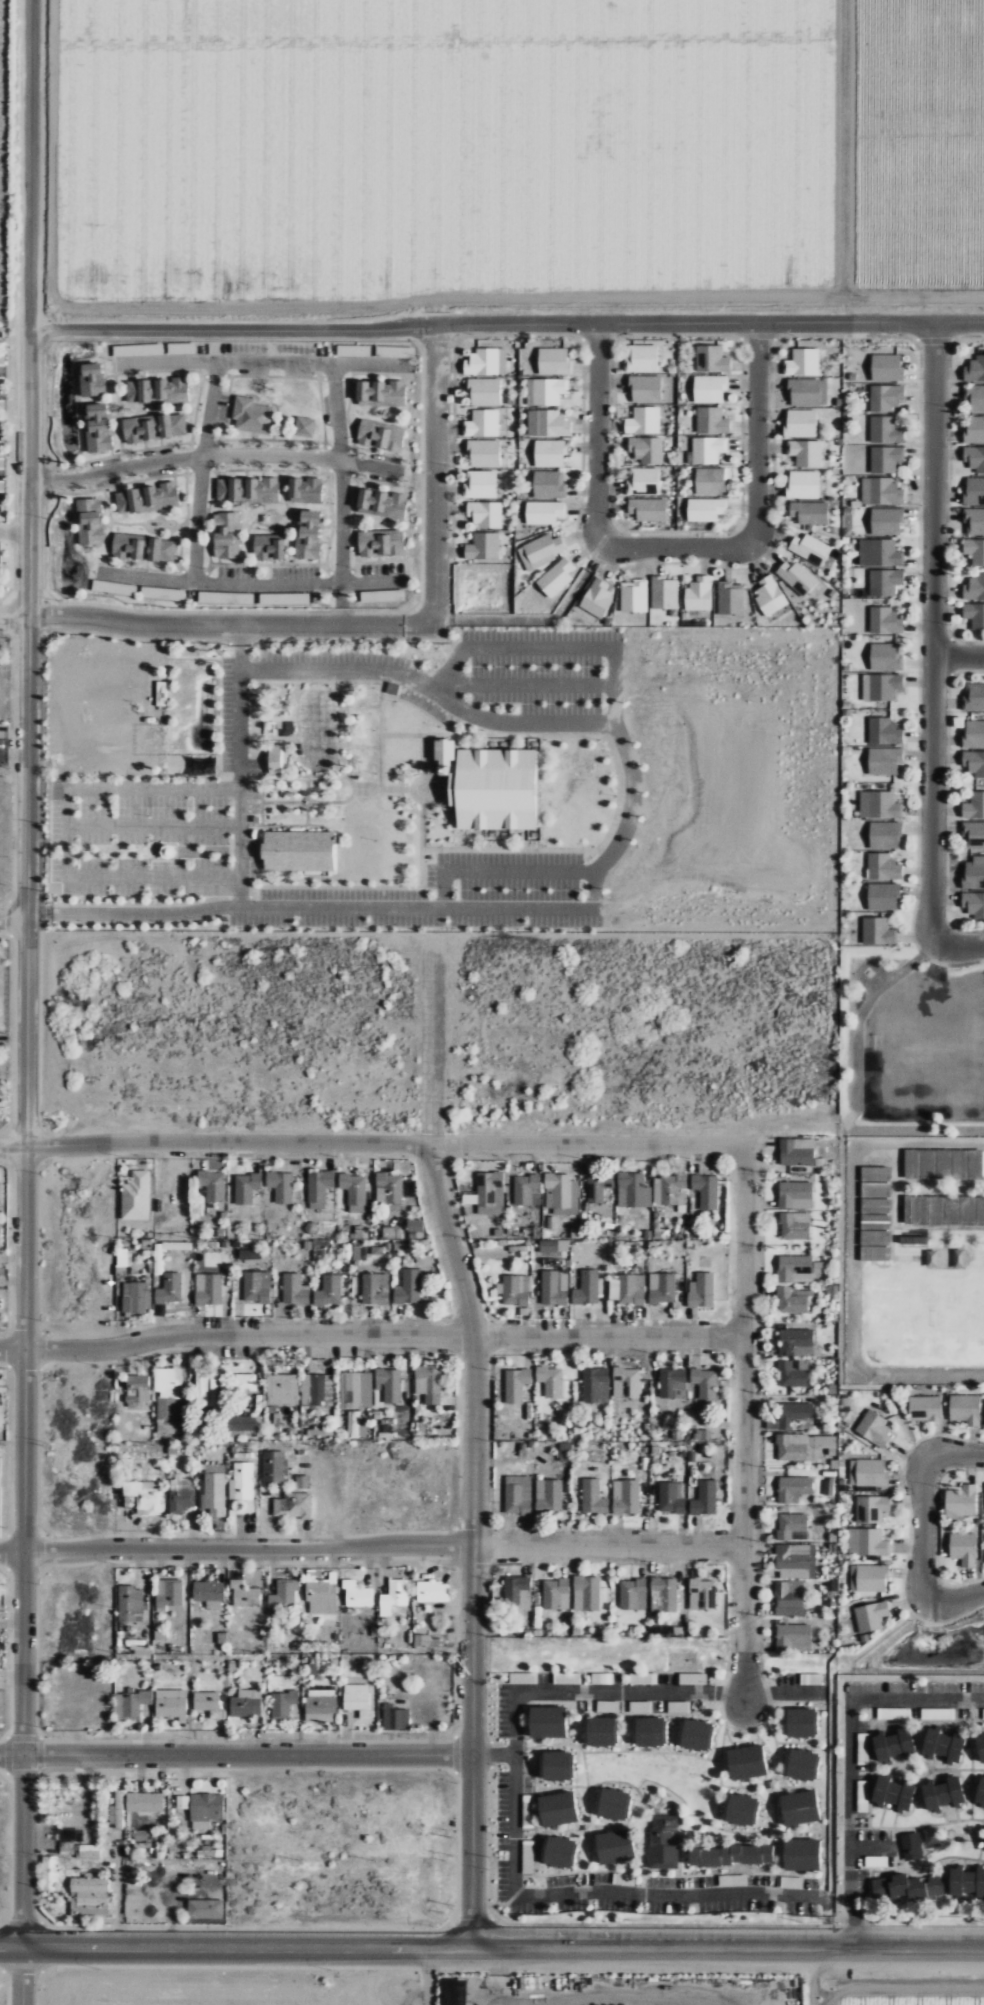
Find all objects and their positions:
road: (31, 158)
road: (506, 322)
building: (353, 350)
building: (396, 351)
building: (2, 359)
building: (640, 359)
building: (711, 359)
building: (553, 361)
building: (481, 362)
building: (802, 362)
road: (261, 363)
building: (887, 367)
building: (974, 369)
building: (91, 380)
building: (1, 383)
building: (157, 389)
building: (645, 389)
building: (709, 389)
building: (549, 390)
building: (381, 391)
building: (807, 391)
building: (484, 392)
building: (529, 392)
building: (886, 397)
building: (974, 398)
building: (251, 415)
building: (643, 420)
building: (711, 420)
building: (801, 422)
building: (482, 423)
building: (547, 423)
building: (304, 426)
building: (153, 427)
building: (97, 428)
building: (974, 428)
building: (885, 430)
road: (597, 432)
road: (755, 432)
building: (380, 435)
building: (646, 449)
building: (706, 449)
building: (805, 452)
building: (484, 453)
building: (550, 453)
road: (212, 455)
building: (974, 458)
building: (885, 459)
building: (1, 463)
road: (201, 471)
road: (435, 472)
road: (340, 474)
building: (643, 480)
building: (710, 481)
building: (480, 484)
building: (549, 484)
building: (803, 484)
building: (228, 489)
building: (305, 489)
building: (974, 490)
building: (881, 491)
building: (147, 497)
building: (382, 502)
building: (648, 509)
building: (705, 509)
building: (543, 512)
building: (809, 512)
building: (485, 513)
building: (89, 521)
building: (886, 521)
building: (974, 521)
building: (308, 534)
building: (227, 535)
building: (380, 542)
road: (676, 542)
building: (483, 546)
building: (143, 547)
building: (269, 547)
building: (810, 548)
building: (974, 550)
building: (540, 551)
building: (880, 552)
building: (555, 577)
building: (797, 577)
building: (884, 582)
road: (247, 584)
building: (108, 587)
building: (974, 587)
building: (664, 592)
building: (163, 593)
building: (698, 593)
building: (633, 595)
building: (769, 595)
building: (382, 596)
building: (219, 597)
building: (597, 597)
building: (291, 598)
building: (730, 598)
building: (974, 614)
road: (14, 615)
building: (885, 621)
road: (231, 624)
road: (240, 635)
road: (552, 648)
road: (957, 655)
building: (886, 657)
road: (930, 659)
road: (524, 685)
building: (881, 686)
building: (161, 693)
building: (973, 696)
building: (884, 731)
building: (973, 733)
building: (444, 751)
building: (884, 760)
building: (974, 763)
building: (204, 765)
building: (271, 766)
road: (239, 788)
building: (494, 789)
fountain: (306, 802)
building: (879, 804)
building: (974, 806)
building: (885, 834)
building: (973, 835)
building: (164, 849)
building: (298, 850)
building: (884, 867)
road: (500, 872)
building: (974, 873)
road: (594, 876)
building: (883, 896)
parking lot: (442, 897)
building: (974, 904)
road: (37, 913)
road: (13, 921)
building: (878, 931)
road: (432, 1038)
road: (28, 1132)
road: (589, 1146)
road: (215, 1147)
building: (797, 1152)
building: (911, 1164)
building: (928, 1164)
building: (959, 1164)
building: (875, 1174)
building: (213, 1185)
building: (280, 1186)
building: (246, 1188)
building: (318, 1188)
building: (389, 1188)
building: (527, 1190)
building: (633, 1190)
building: (875, 1190)
building: (1, 1191)
building: (354, 1191)
building: (706, 1191)
building: (490, 1193)
building: (560, 1194)
building: (796, 1195)
building: (136, 1196)
building: (875, 1206)
building: (908, 1209)
building: (952, 1210)
building: (972, 1210)
building: (920, 1211)
building: (936, 1211)
building: (875, 1222)
building: (795, 1225)
building: (414, 1227)
building: (391, 1232)
building: (0, 1234)
building: (875, 1238)
building: (914, 1240)
building: (553, 1246)
building: (250, 1254)
building: (875, 1254)
building: (123, 1261)
building: (798, 1268)
building: (256, 1286)
building: (409, 1287)
building: (170, 1288)
building: (554, 1288)
building: (587, 1288)
building: (662, 1288)
building: (208, 1289)
building: (295, 1289)
building: (375, 1289)
building: (626, 1289)
building: (329, 1291)
building: (516, 1291)
building: (702, 1291)
building: (137, 1297)
building: (794, 1300)
road: (372, 1339)
building: (796, 1342)
building: (793, 1372)
building: (550, 1380)
building: (626, 1382)
building: (673, 1382)
building: (704, 1382)
building: (245, 1383)
building: (389, 1384)
building: (516, 1384)
building: (595, 1384)
building: (137, 1389)
building: (281, 1389)
building: (316, 1389)
building: (358, 1389)
building: (202, 1391)
building: (166, 1398)
building: (925, 1408)
building: (965, 1408)
building: (795, 1415)
building: (245, 1424)
building: (358, 1424)
road: (743, 1427)
building: (874, 1428)
building: (703, 1434)
building: (803, 1446)
building: (565, 1451)
building: (274, 1466)
building: (871, 1472)
building: (241, 1481)
building: (302, 1481)
building: (794, 1487)
building: (215, 1489)
building: (828, 1489)
building: (146, 1494)
building: (518, 1494)
building: (181, 1495)
building: (549, 1495)
building: (593, 1496)
building: (625, 1496)
building: (672, 1496)
road: (344, 1497)
building: (704, 1498)
building: (961, 1500)
building: (293, 1505)
building: (871, 1508)
building: (793, 1526)
road: (921, 1531)
building: (867, 1541)
road: (370, 1545)
road: (474, 1545)
building: (963, 1548)
building: (792, 1560)
building: (869, 1577)
building: (432, 1591)
building: (665, 1592)
building: (168, 1593)
building: (209, 1593)
building: (517, 1593)
building: (556, 1593)
building: (587, 1593)
building: (789, 1593)
building: (244, 1594)
building: (284, 1594)
building: (322, 1594)
building: (357, 1594)
building: (633, 1594)
building: (702, 1594)
building: (394, 1596)
building: (130, 1605)
building: (871, 1616)
building: (793, 1637)
building: (429, 1641)
building: (523, 1678)
building: (567, 1678)
building: (602, 1678)
building: (643, 1678)
building: (693, 1678)
building: (811, 1678)
building: (357, 1699)
building: (206, 1700)
building: (131, 1703)
building: (246, 1703)
building: (283, 1703)
building: (171, 1704)
building: (321, 1704)
building: (608, 1706)
building: (640, 1706)
building: (678, 1706)
building: (937, 1713)
building: (983, 1713)
building: (394, 1717)
building: (547, 1721)
building: (801, 1721)
building: (601, 1730)
building: (649, 1731)
building: (696, 1734)
building: (893, 1743)
building: (942, 1745)
building: (980, 1746)
building: (863, 1748)
road: (848, 1755)
road: (235, 1757)
building: (746, 1761)
building: (802, 1764)
building: (557, 1765)
building: (980, 1791)
building: (892, 1792)
building: (943, 1793)
building: (144, 1801)
building: (182, 1801)
building: (863, 1802)
building: (613, 1803)
building: (800, 1807)
building: (116, 1808)
building: (557, 1808)
building: (205, 1809)
building: (741, 1809)
road: (513, 1816)
building: (663, 1841)
building: (911, 1841)
building: (615, 1846)
building: (89, 1851)
building: (558, 1851)
building: (802, 1854)
building: (729, 1855)
building: (876, 1861)
building: (49, 1872)
building: (623, 1879)
building: (732, 1879)
building: (556, 1880)
building: (791, 1882)
building: (966, 1882)
building: (936, 1883)
building: (898, 1888)
building: (90, 1889)
building: (205, 1908)
road: (9, 1917)
road: (40, 1917)
road: (24, 1924)
road: (3, 1925)
road: (49, 1926)
road: (12, 1943)
road: (6, 1948)
road: (42, 1948)
road: (728, 1948)
road: (248, 1949)
road: (12, 1950)
road: (3, 1970)
road: (49, 1970)
road: (24, 1972)
road: (23, 1975)
road: (810, 1976)
road: (428, 1978)
road: (499, 1978)
road: (8, 1988)
road: (37, 1988)
crop: (902, 1990)
road: (901, 1993)

